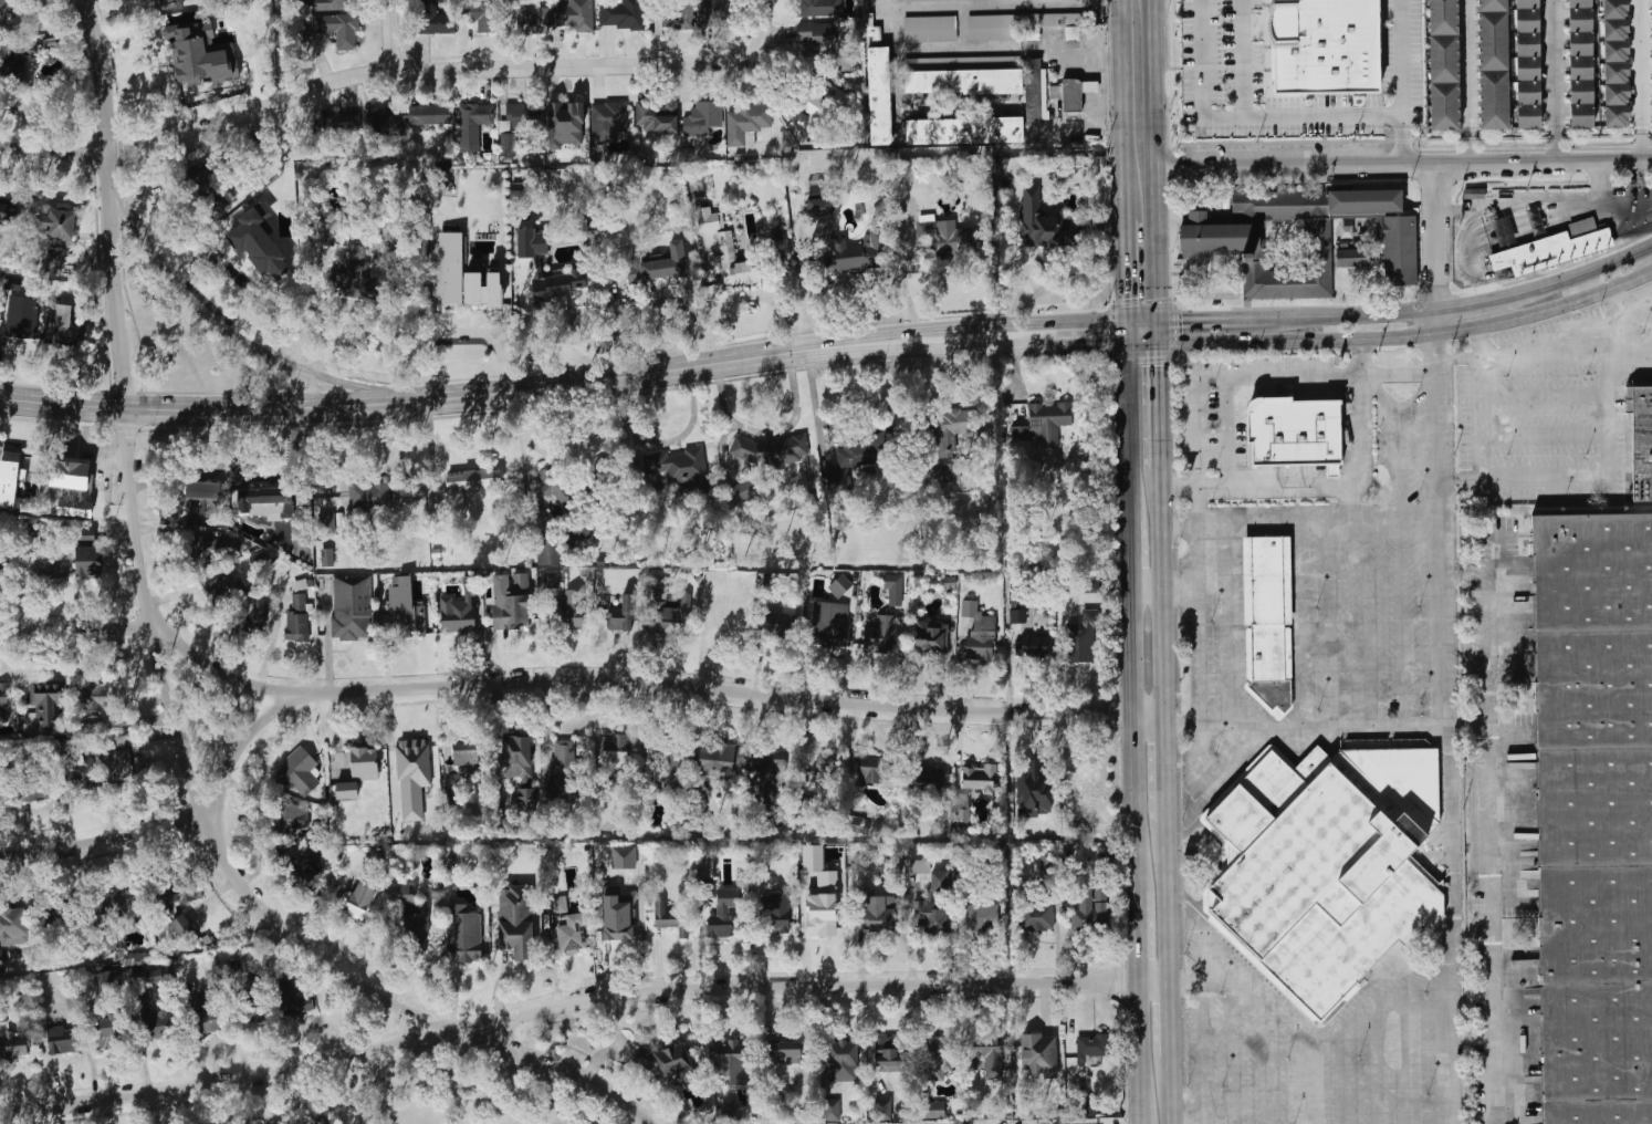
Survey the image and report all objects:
building: (921, 0)
building: (169, 2)
building: (1579, 3)
building: (323, 4)
building: (1526, 4)
road: (1005, 6)
building: (1491, 6)
building: (819, 8)
building: (1616, 10)
building: (11, 11)
building: (484, 12)
building: (714, 13)
building: (626, 14)
building: (679, 14)
building: (576, 15)
building: (530, 18)
building: (1442, 18)
building: (435, 20)
building: (1526, 20)
building: (1579, 20)
building: (1023, 25)
road: (963, 28)
building: (338, 29)
building: (931, 29)
building: (1617, 31)
building: (301, 33)
building: (823, 34)
building: (875, 35)
road: (391, 37)
building: (53, 42)
building: (1492, 42)
building: (1328, 44)
building: (1527, 44)
building: (1579, 44)
road: (964, 49)
building: (1617, 52)
building: (200, 54)
road: (1243, 58)
building: (1443, 60)
building: (23, 63)
road: (604, 67)
road: (1556, 67)
building: (1579, 67)
building: (1527, 69)
building: (1617, 73)
building: (962, 74)
road: (1643, 79)
road: (1471, 81)
road: (1401, 82)
building: (1089, 89)
building: (1036, 91)
building: (1580, 92)
building: (1527, 93)
building: (1617, 94)
building: (880, 96)
building: (1067, 96)
building: (1492, 101)
building: (20, 103)
building: (816, 106)
building: (1443, 107)
road: (1123, 110)
road: (251, 113)
building: (479, 114)
road: (1244, 114)
building: (429, 115)
building: (1527, 116)
building: (1580, 116)
building: (1617, 116)
building: (657, 117)
building: (566, 121)
building: (704, 121)
building: (609, 122)
building: (517, 123)
building: (386, 124)
building: (746, 124)
building: (962, 131)
building: (333, 133)
road: (1557, 147)
road: (54, 149)
road: (1649, 157)
road: (1157, 160)
road: (1401, 164)
building: (203, 181)
building: (1473, 196)
building: (216, 199)
building: (368, 201)
road: (109, 202)
building: (819, 207)
building: (6, 212)
building: (710, 220)
building: (1043, 222)
building: (56, 225)
building: (950, 239)
building: (258, 240)
building: (1220, 240)
building: (530, 244)
road: (1440, 248)
building: (1551, 248)
building: (1400, 252)
building: (844, 254)
building: (1352, 259)
building: (54, 261)
building: (736, 263)
building: (661, 264)
building: (358, 268)
building: (449, 268)
road: (1592, 269)
road: (1127, 270)
road: (902, 278)
building: (560, 285)
building: (483, 290)
traffic signals: (1128, 294)
road: (745, 295)
road: (194, 296)
road: (1485, 301)
road: (657, 306)
road: (1345, 314)
building: (22, 318)
road: (564, 319)
road: (1144, 320)
road: (1205, 320)
traffic signals: (1185, 321)
road: (1017, 325)
building: (63, 329)
road: (1129, 331)
road: (1160, 331)
road: (467, 332)
road: (1411, 334)
road: (881, 339)
road: (1146, 342)
road: (1092, 344)
traffic signals: (1105, 344)
road: (882, 346)
road: (981, 347)
traffic signals: (1161, 361)
road: (1401, 374)
road: (1222, 376)
road: (366, 386)
road: (313, 389)
road: (428, 400)
road: (1161, 403)
road: (816, 406)
building: (955, 421)
road: (1130, 421)
building: (1044, 424)
road: (766, 433)
road: (1228, 433)
building: (1296, 433)
building: (1641, 440)
building: (771, 451)
building: (853, 461)
building: (670, 466)
building: (1336, 470)
building: (950, 472)
road: (208, 476)
building: (7, 478)
building: (471, 483)
building: (71, 485)
building: (556, 486)
road: (1335, 487)
building: (742, 490)
building: (369, 497)
road: (1352, 500)
building: (262, 501)
building: (202, 504)
road: (1234, 518)
building: (326, 523)
road: (1198, 528)
building: (579, 530)
road: (1442, 531)
building: (32, 532)
building: (86, 534)
road: (1131, 548)
building: (203, 550)
building: (546, 551)
building: (327, 558)
building: (42, 560)
building: (86, 563)
building: (551, 580)
building: (840, 585)
building: (221, 587)
building: (895, 589)
building: (660, 590)
road: (1183, 592)
road: (1149, 593)
road: (1167, 595)
building: (563, 607)
road: (1201, 607)
building: (349, 608)
building: (406, 613)
building: (253, 614)
building: (624, 615)
building: (456, 616)
building: (1018, 616)
building: (299, 617)
building: (1272, 617)
building: (512, 620)
building: (677, 620)
building: (830, 624)
road: (161, 631)
building: (881, 636)
building: (931, 638)
building: (1081, 639)
building: (981, 641)
building: (1033, 647)
road: (552, 683)
building: (3, 698)
building: (94, 698)
building: (46, 704)
road: (1135, 736)
building: (668, 749)
building: (615, 751)
building: (412, 754)
building: (516, 754)
building: (464, 758)
building: (717, 759)
building: (566, 760)
building: (121, 764)
building: (826, 767)
building: (76, 769)
building: (357, 770)
building: (875, 770)
building: (301, 771)
road: (1170, 774)
building: (928, 778)
building: (979, 779)
building: (1033, 781)
building: (772, 782)
building: (33, 789)
road: (1454, 789)
building: (404, 804)
building: (804, 810)
building: (1596, 814)
building: (287, 820)
road: (1492, 831)
building: (1329, 863)
building: (920, 866)
building: (1046, 867)
building: (303, 872)
road: (240, 878)
building: (178, 901)
building: (359, 901)
road: (1171, 901)
building: (118, 902)
building: (556, 905)
building: (1088, 905)
building: (875, 912)
building: (772, 915)
building: (825, 915)
building: (670, 916)
building: (932, 916)
building: (414, 917)
building: (985, 917)
building: (1037, 917)
building: (11, 923)
building: (723, 926)
building: (621, 928)
road: (1139, 928)
building: (571, 934)
building: (464, 938)
building: (111, 939)
building: (515, 940)
building: (1, 961)
building: (111, 981)
building: (295, 1000)
building: (249, 1003)
road: (581, 1005)
building: (206, 1017)
road: (1172, 1017)
building: (151, 1018)
building: (107, 1032)
building: (62, 1039)
road: (1308, 1043)
building: (13, 1044)
building: (1039, 1048)
building: (785, 1049)
building: (1094, 1049)
building: (888, 1051)
building: (938, 1051)
road: (1141, 1052)
building: (730, 1060)
building: (843, 1060)
building: (990, 1060)
building: (793, 1061)
building: (669, 1063)
road: (1303, 1084)
road: (1173, 1090)
building: (1088, 1107)
building: (833, 1110)
building: (883, 1110)
building: (731, 1111)
building: (934, 1111)
building: (316, 1120)
building: (280, 1123)

